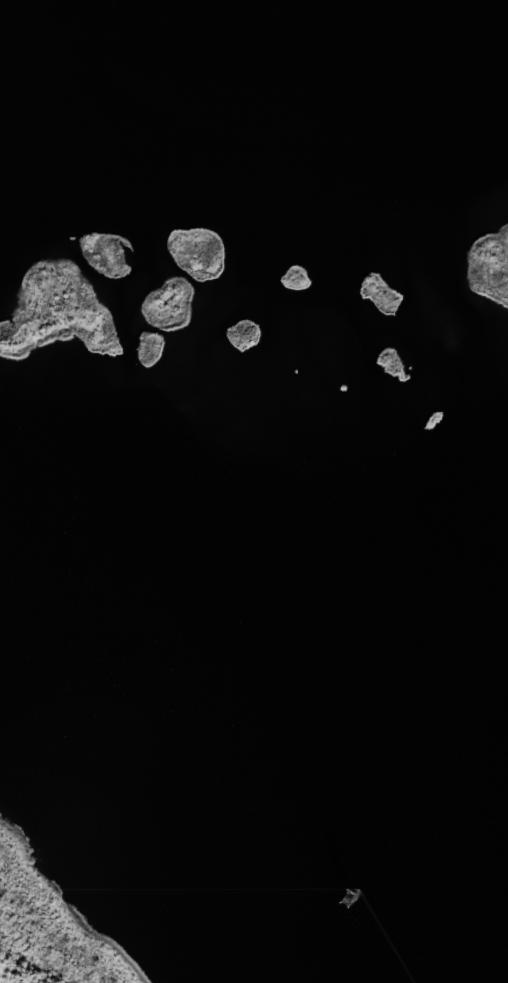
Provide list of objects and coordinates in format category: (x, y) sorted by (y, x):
power tower: (352, 892)

